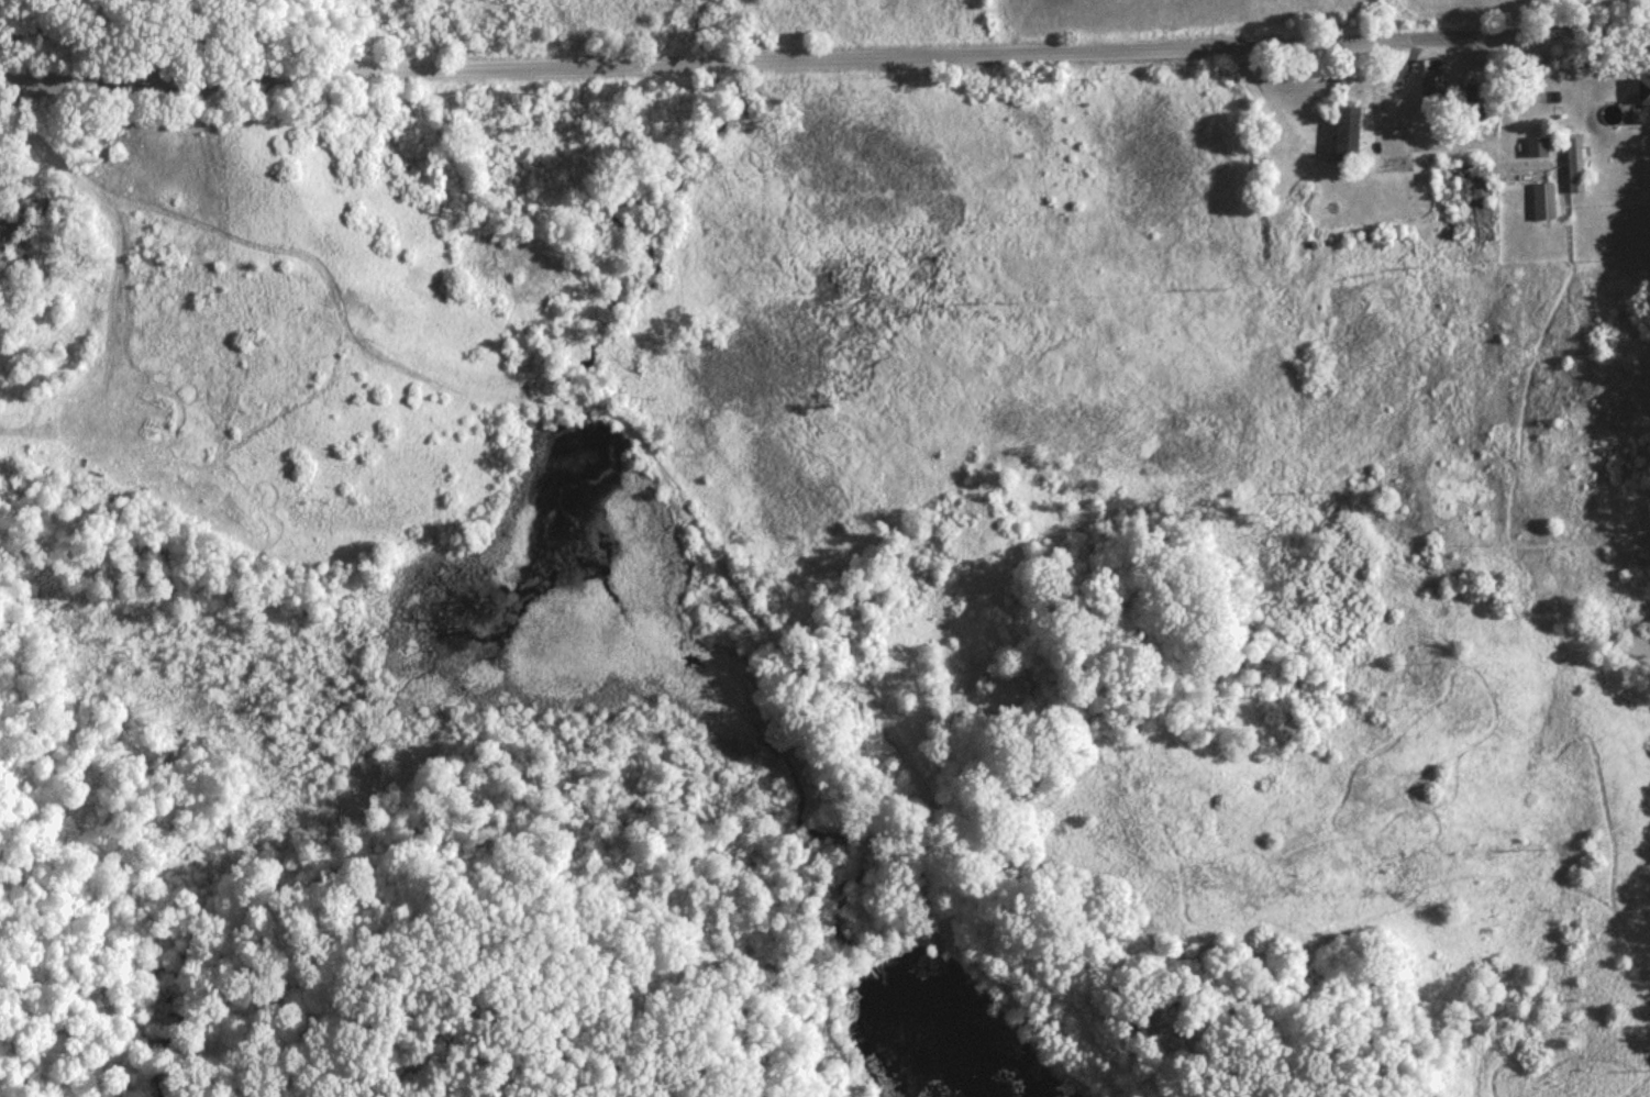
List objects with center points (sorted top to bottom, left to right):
road: (824, 64)
building: (1433, 85)
building: (1643, 98)
road: (1256, 102)
building: (1348, 140)
building: (1537, 153)
building: (1575, 171)
building: (1466, 208)
building: (1543, 208)
road: (109, 350)
road: (660, 470)
dam: (865, 963)

